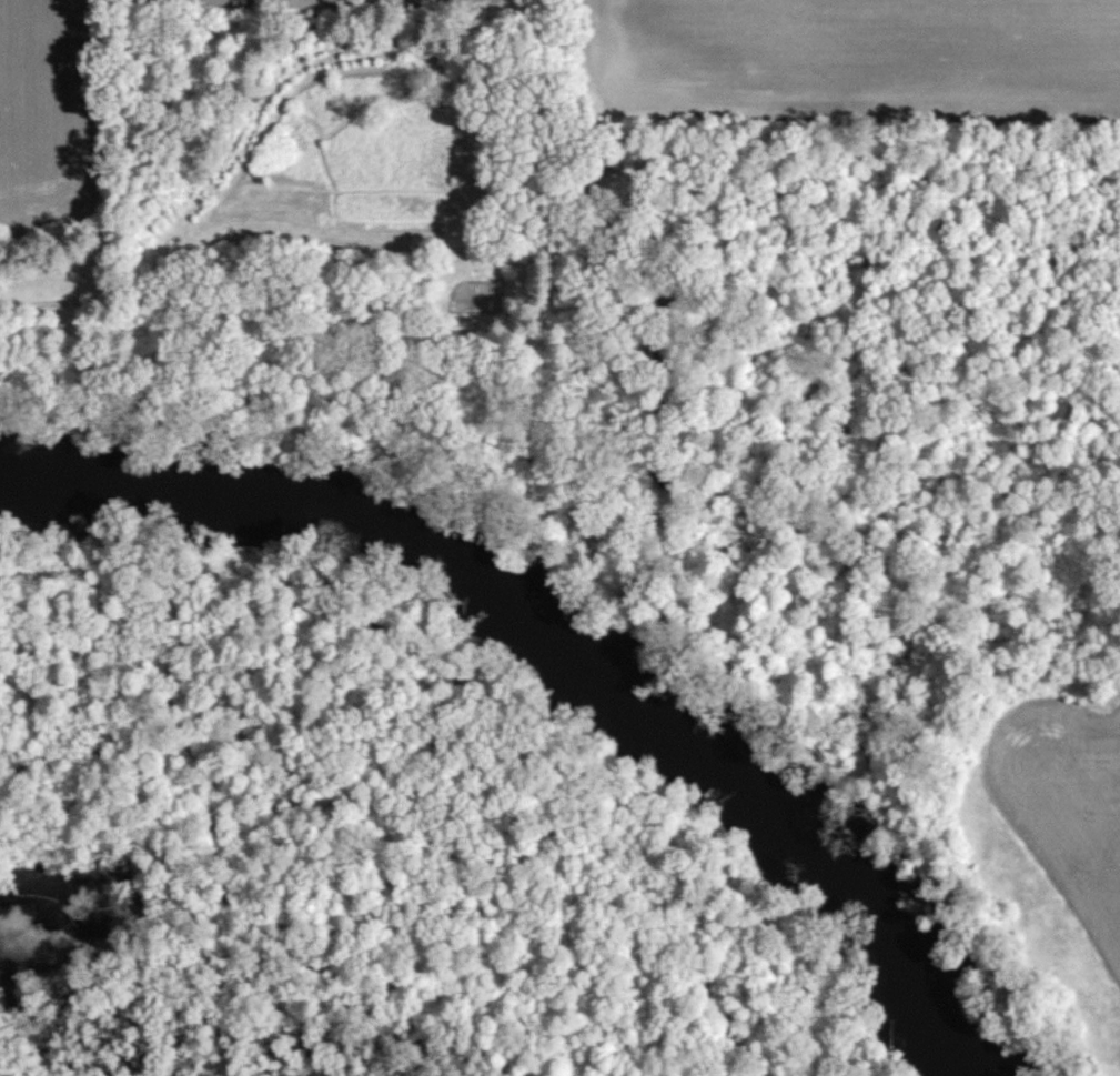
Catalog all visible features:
road: (287, 240)
road: (644, 308)
river: (553, 643)

